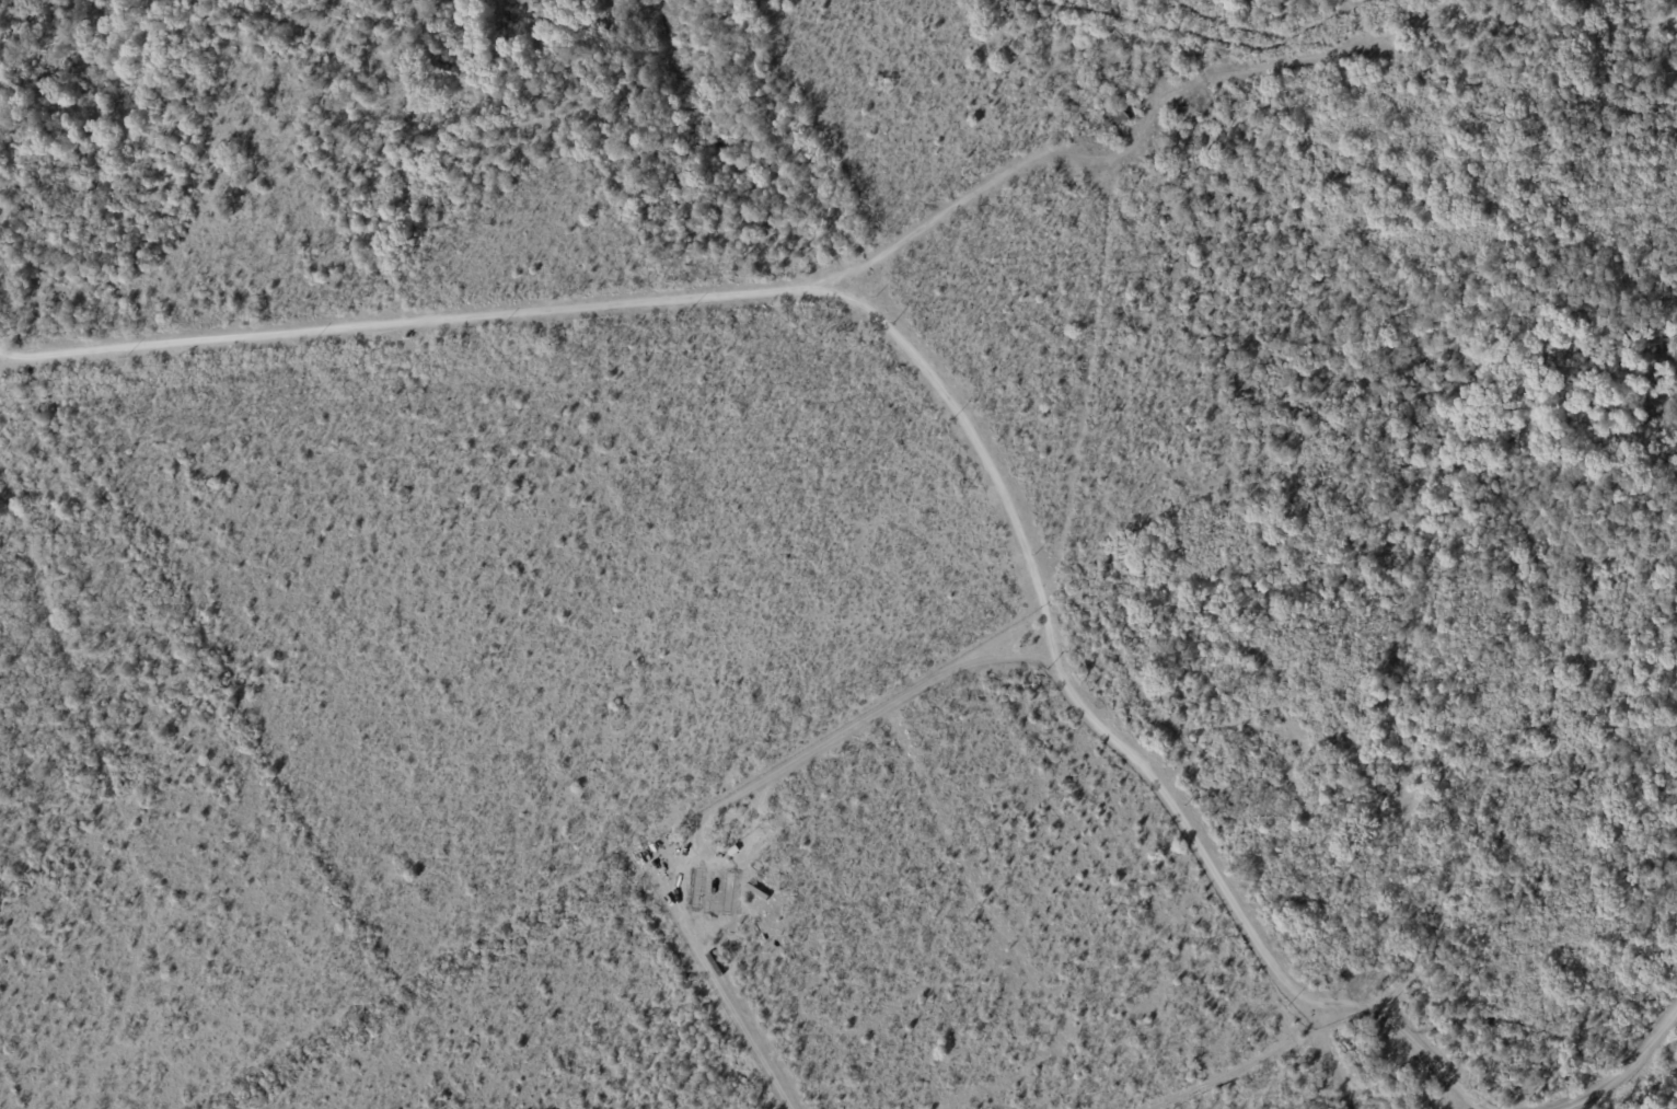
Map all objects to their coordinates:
park: (1262, 19)
road: (934, 367)
road: (1609, 1082)

